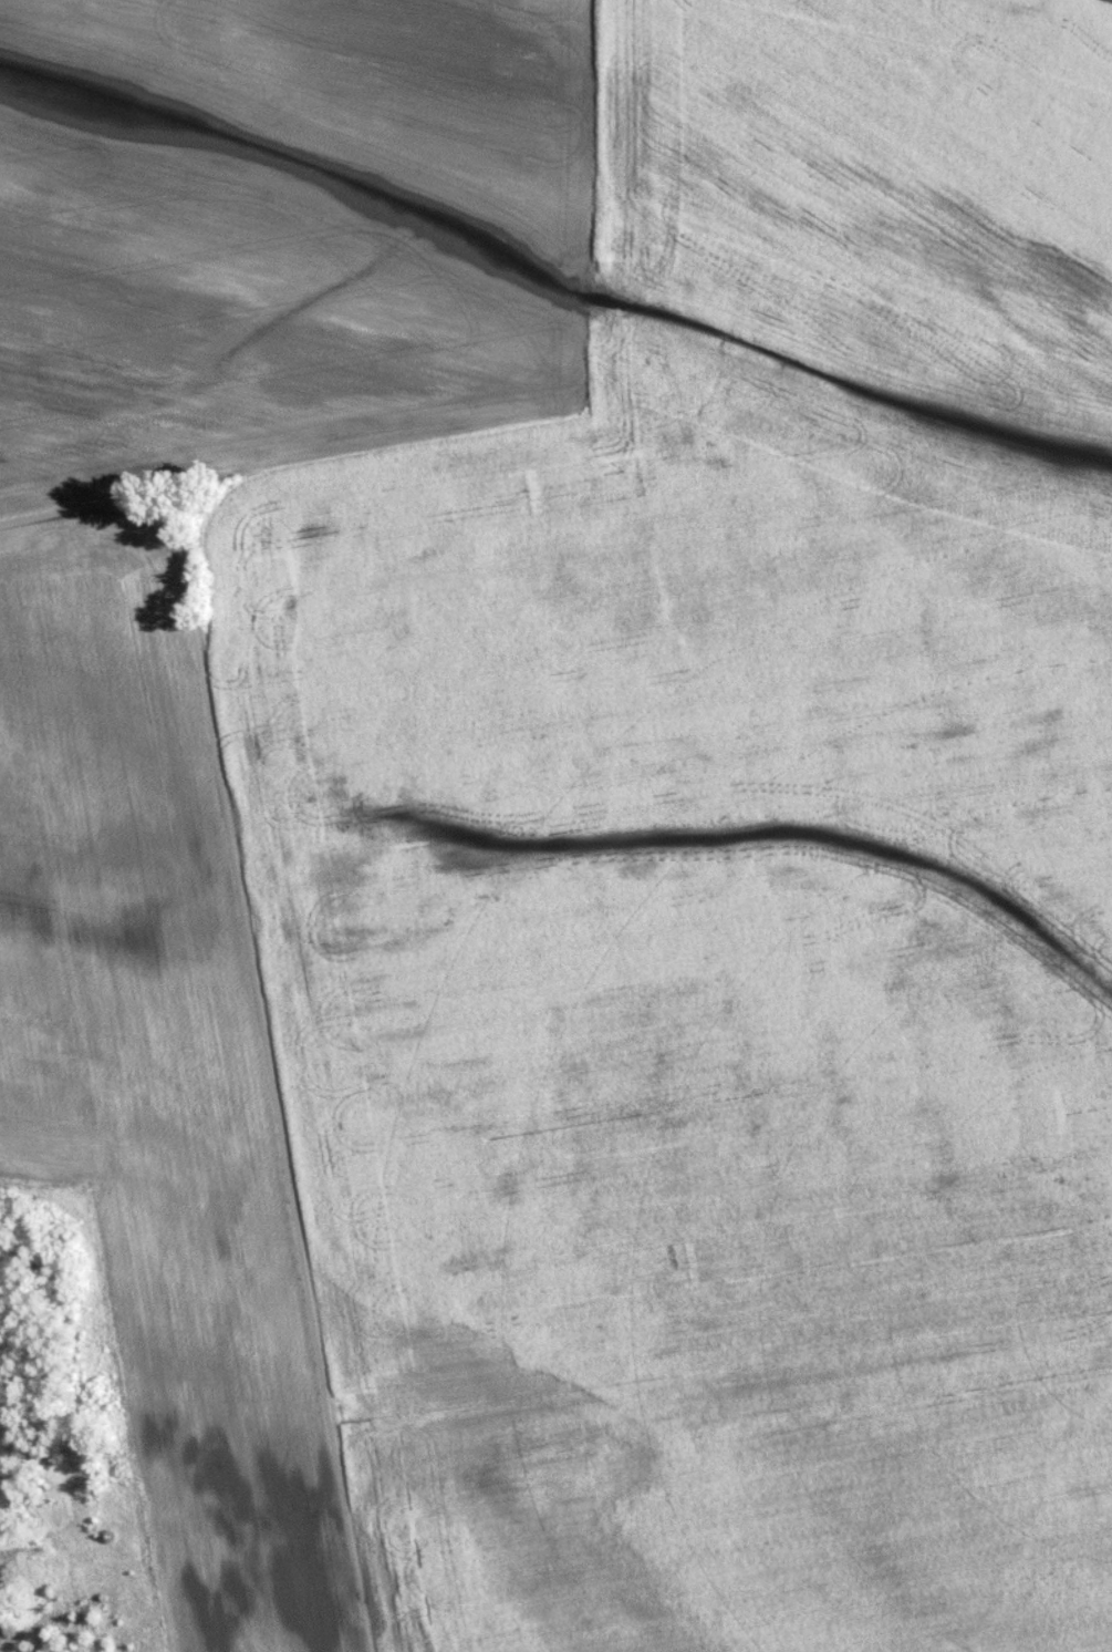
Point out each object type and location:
road: (256, 1001)

